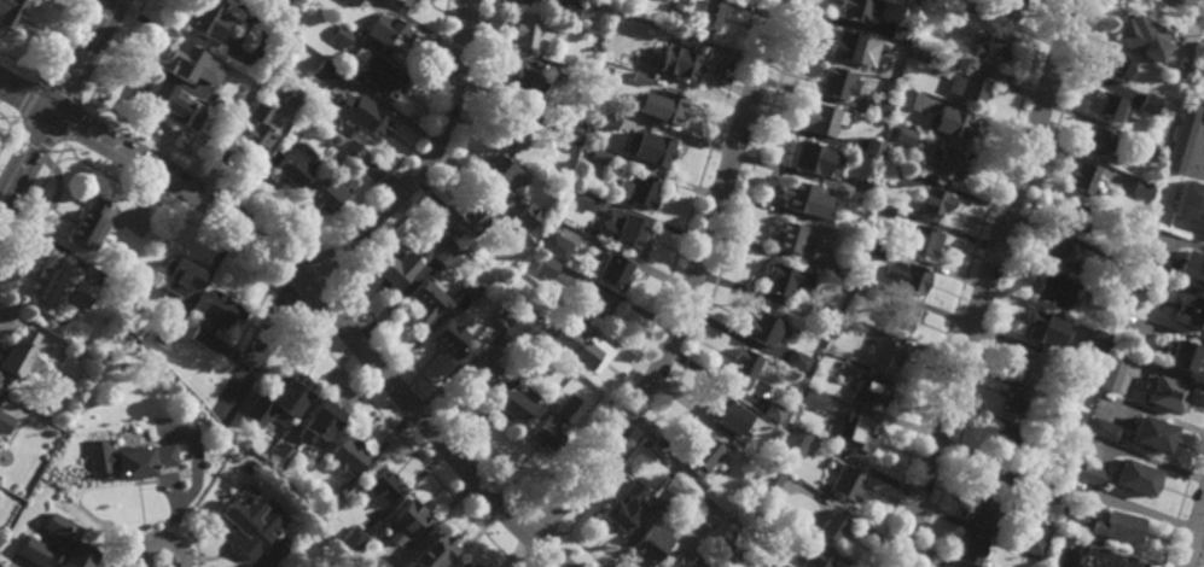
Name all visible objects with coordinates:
building: (537, 0)
building: (350, 2)
building: (361, 2)
building: (403, 2)
building: (950, 2)
building: (1005, 7)
road: (1191, 7)
building: (566, 10)
building: (856, 10)
building: (11, 12)
building: (703, 13)
building: (208, 19)
road: (1171, 21)
building: (389, 30)
building: (900, 31)
building: (525, 33)
building: (341, 36)
building: (1142, 36)
road: (58, 39)
building: (845, 45)
building: (954, 49)
building: (991, 51)
road: (115, 52)
building: (920, 53)
road: (83, 55)
building: (681, 58)
road: (19, 62)
building: (190, 64)
building: (1122, 70)
building: (559, 71)
building: (324, 72)
building: (621, 74)
building: (1202, 74)
building: (382, 77)
building: (639, 77)
building: (837, 82)
building: (523, 88)
building: (969, 88)
road: (60, 93)
road: (27, 97)
building: (293, 98)
road: (28, 99)
building: (911, 99)
road: (98, 100)
building: (1151, 101)
building: (171, 105)
building: (1107, 105)
building: (668, 106)
building: (883, 106)
traffic signals: (53, 112)
building: (363, 116)
building: (605, 117)
building: (824, 119)
road: (5, 121)
road: (13, 121)
building: (954, 124)
road: (75, 125)
road: (40, 131)
building: (256, 131)
building: (512, 131)
road: (5, 133)
building: (571, 135)
building: (906, 135)
building: (1183, 139)
road: (413, 141)
building: (1098, 142)
building: (874, 147)
building: (655, 150)
building: (1151, 151)
building: (351, 153)
building: (598, 158)
building: (815, 158)
road: (25, 159)
road: (63, 159)
road: (448, 160)
road: (425, 162)
building: (941, 163)
building: (293, 164)
road: (209, 168)
building: (892, 175)
building: (499, 177)
building: (1083, 179)
building: (863, 187)
building: (1142, 189)
building: (636, 191)
building: (326, 193)
building: (578, 198)
building: (802, 198)
building: (937, 201)
road: (31, 203)
building: (1191, 203)
building: (885, 210)
road: (169, 211)
building: (529, 216)
building: (1072, 217)
building: (470, 220)
building: (1134, 223)
building: (92, 224)
building: (857, 228)
building: (437, 232)
building: (630, 233)
building: (921, 239)
building: (798, 240)
building: (556, 247)
building: (877, 250)
building: (446, 255)
building: (1064, 256)
building: (1117, 261)
road: (671, 263)
building: (1156, 263)
road: (326, 264)
building: (1192, 265)
building: (546, 267)
building: (848, 267)
building: (396, 270)
building: (615, 271)
building: (180, 276)
building: (912, 277)
road: (338, 279)
road: (720, 282)
building: (785, 282)
road: (962, 282)
road: (277, 283)
road: (987, 283)
road: (1006, 283)
road: (693, 288)
building: (53, 290)
building: (471, 290)
building: (866, 291)
building: (1052, 292)
building: (1141, 293)
road: (291, 296)
building: (1099, 298)
building: (426, 300)
building: (595, 304)
road: (330, 311)
building: (1188, 312)
building: (215, 316)
building: (902, 316)
building: (505, 317)
road: (301, 318)
building: (850, 325)
building: (763, 328)
building: (1036, 328)
road: (295, 331)
building: (165, 335)
building: (449, 339)
building: (1099, 341)
road: (237, 345)
building: (581, 345)
building: (536, 353)
building: (886, 353)
building: (1183, 357)
building: (830, 360)
building: (19, 361)
building: (798, 361)
building: (1023, 366)
building: (743, 369)
building: (482, 373)
building: (1111, 373)
building: (876, 390)
building: (1168, 394)
building: (814, 398)
road: (442, 399)
building: (280, 401)
building: (1013, 402)
building: (516, 407)
building: (0, 408)
building: (1069, 410)
building: (774, 411)
building: (727, 415)
building: (322, 421)
building: (5, 423)
building: (552, 427)
building: (1105, 429)
building: (859, 433)
building: (1153, 436)
building: (1002, 439)
building: (797, 442)
road: (408, 448)
building: (703, 455)
building: (280, 457)
building: (347, 457)
building: (133, 463)
building: (630, 469)
building: (1090, 474)
building: (1060, 477)
building: (773, 479)
building: (993, 479)
building: (1138, 479)
building: (848, 483)
building: (702, 484)
building: (383, 487)
building: (1048, 490)
building: (338, 491)
road: (1182, 498)
building: (663, 502)
building: (624, 504)
building: (762, 513)
building: (985, 513)
building: (708, 514)
building: (248, 518)
building: (1075, 519)
building: (408, 520)
road: (159, 521)
road: (542, 522)
building: (834, 525)
building: (1118, 525)
road: (562, 532)
building: (353, 538)
road: (161, 539)
building: (650, 542)
road: (1196, 542)
building: (58, 545)
building: (1033, 545)
building: (734, 548)
building: (971, 548)
building: (435, 549)
road: (587, 550)
building: (816, 557)
building: (1103, 557)
building: (682, 561)
building: (378, 563)
building: (775, 563)
building: (465, 565)

